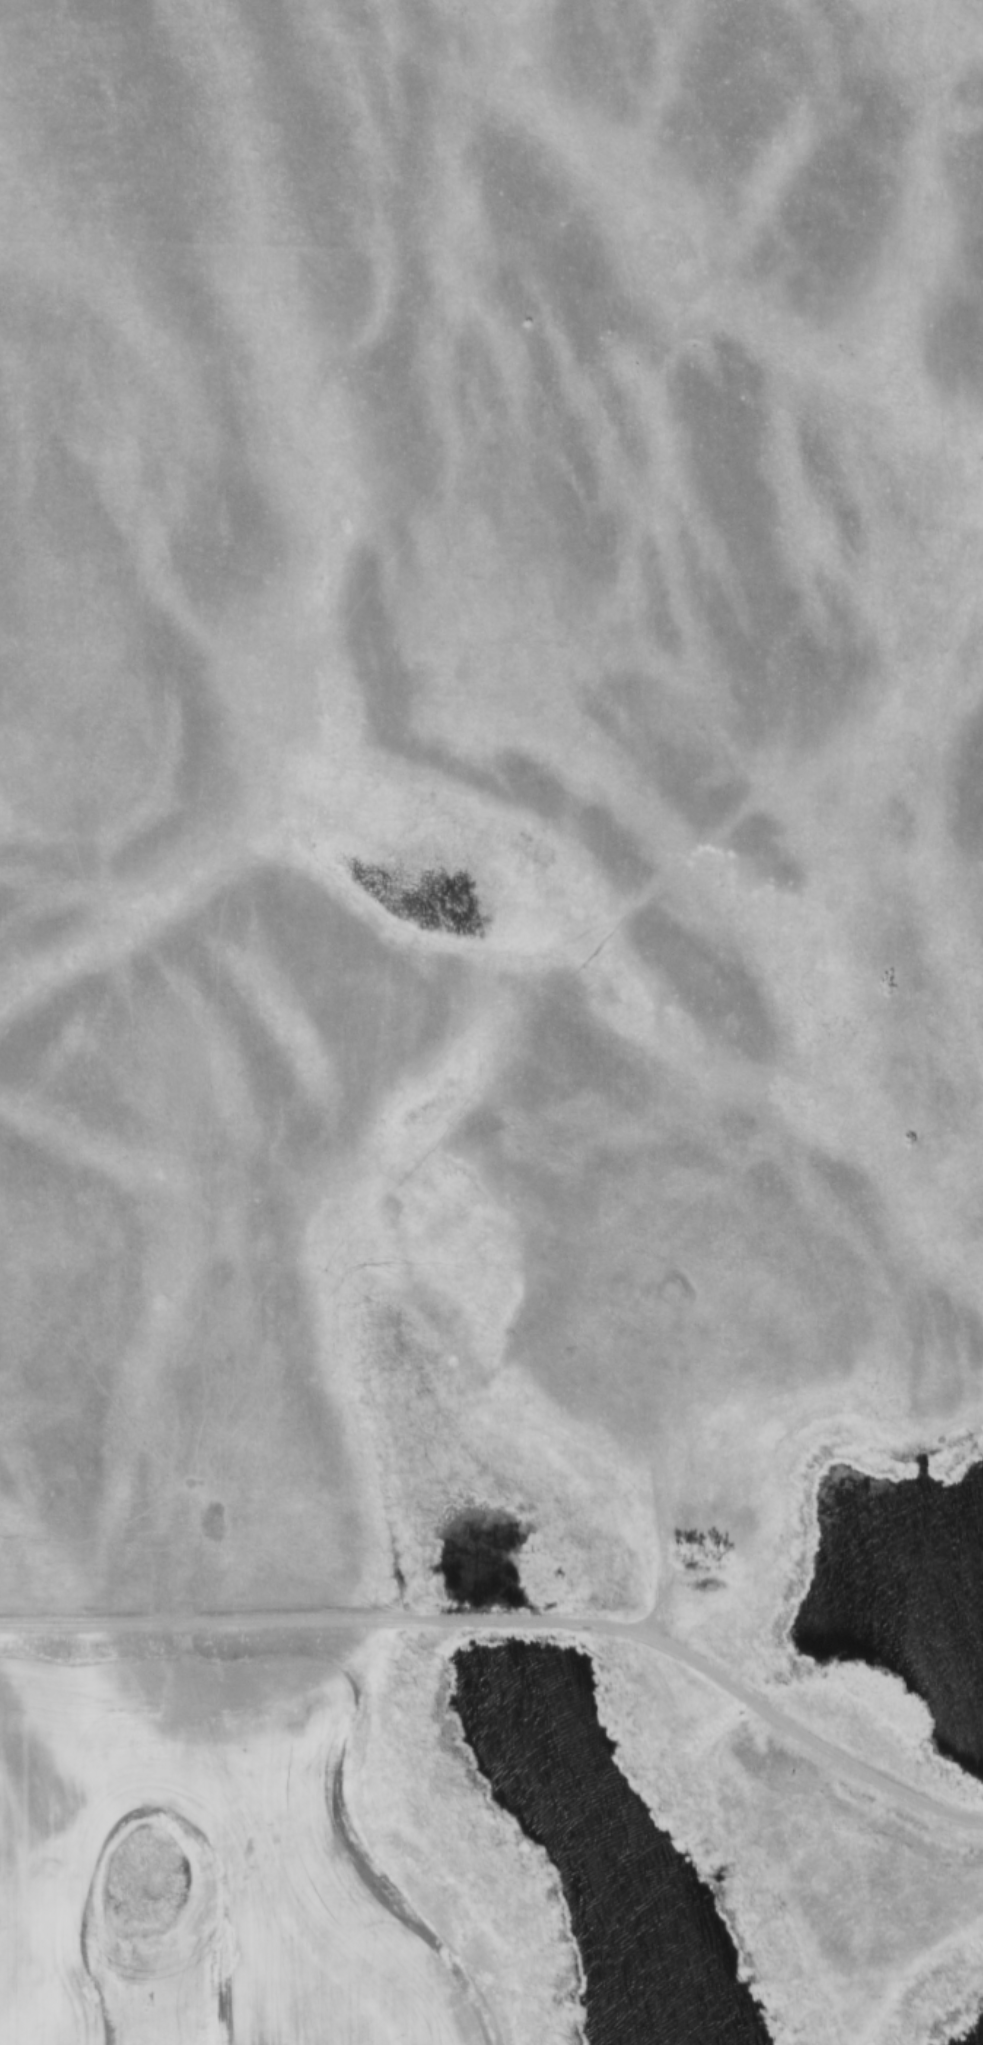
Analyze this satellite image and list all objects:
road: (517, 1625)

